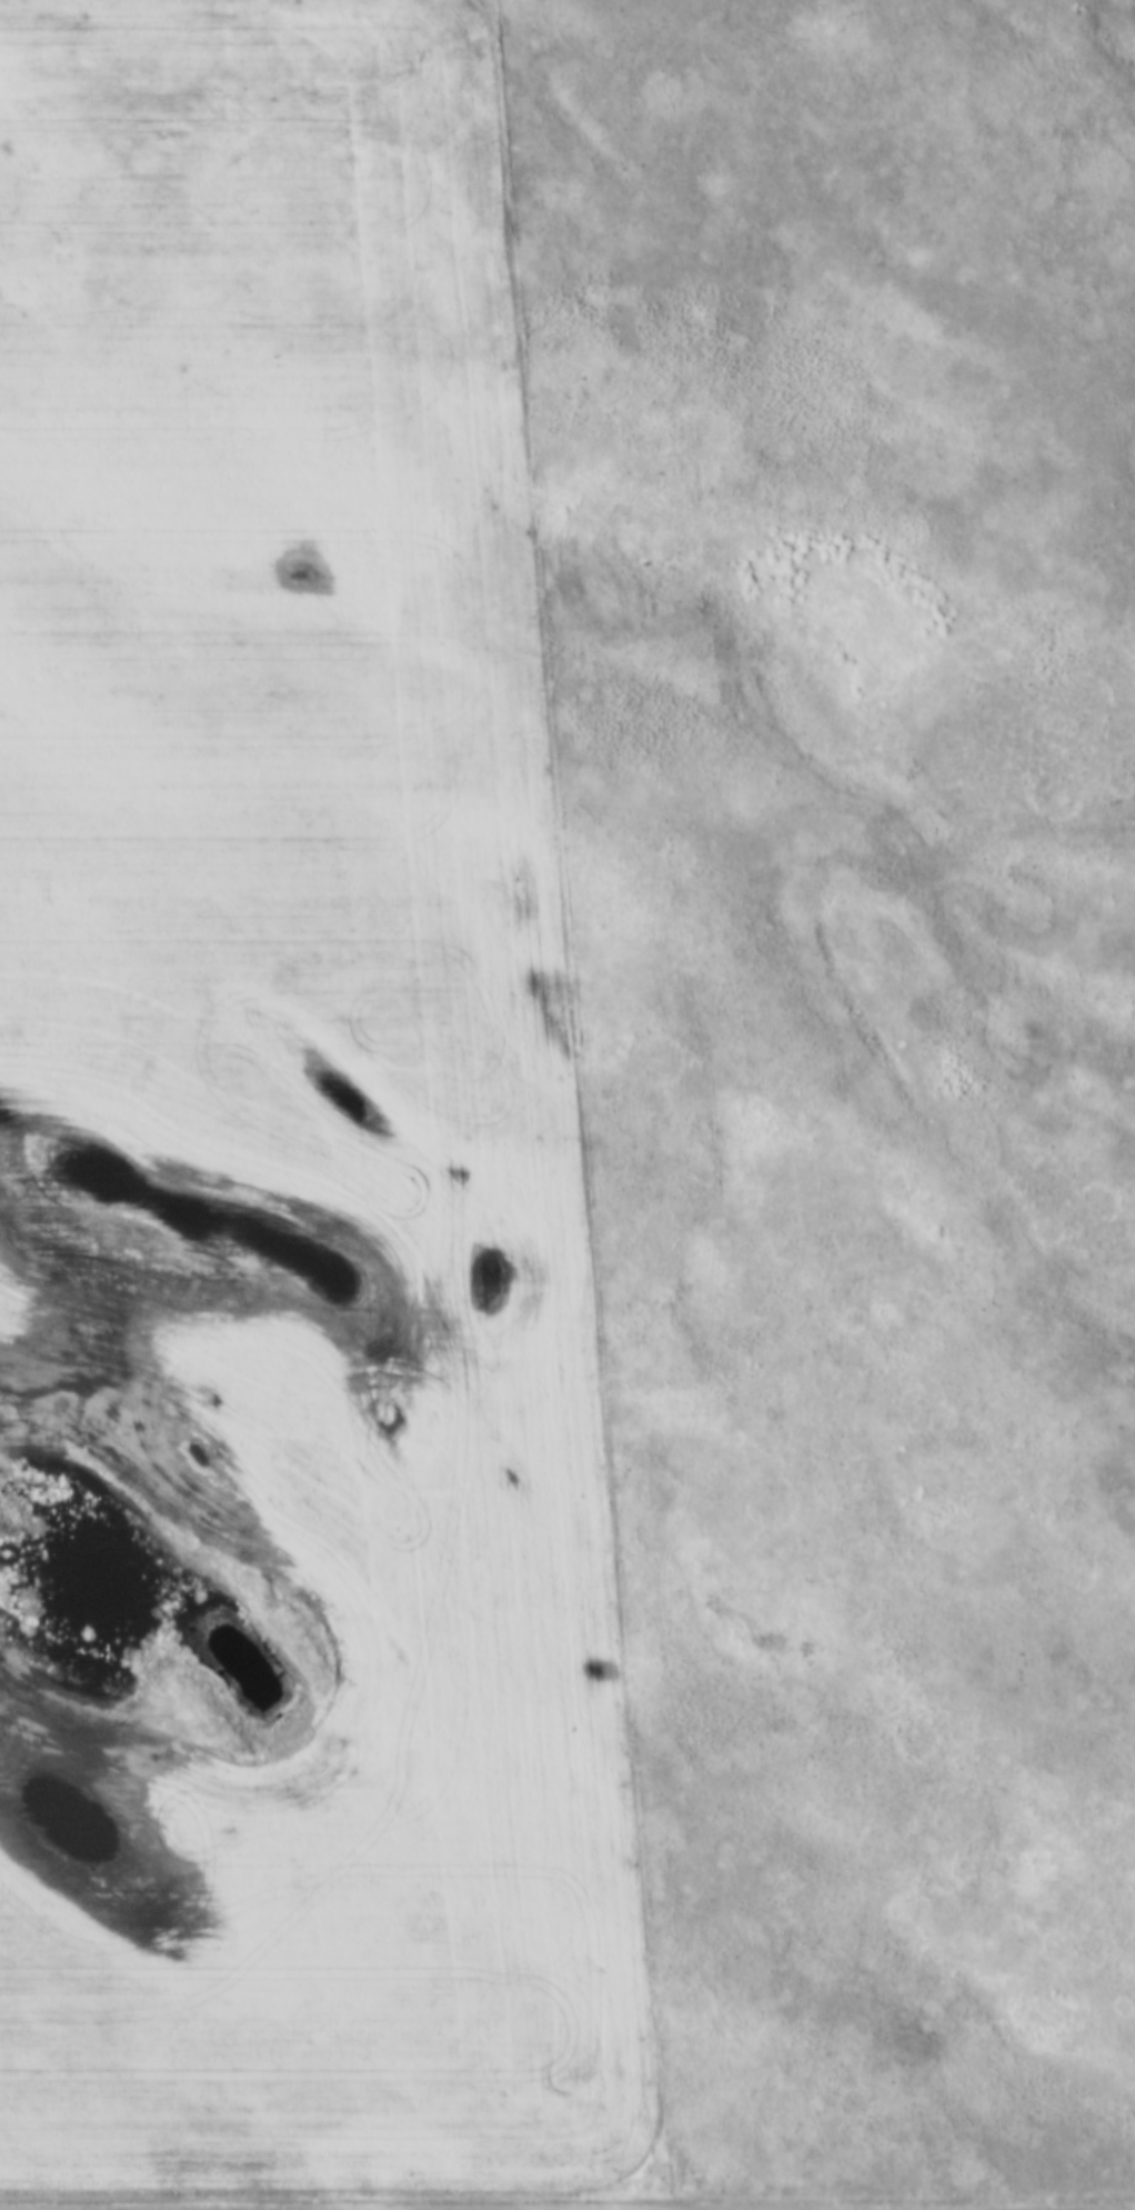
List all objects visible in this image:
road: (567, 2199)

